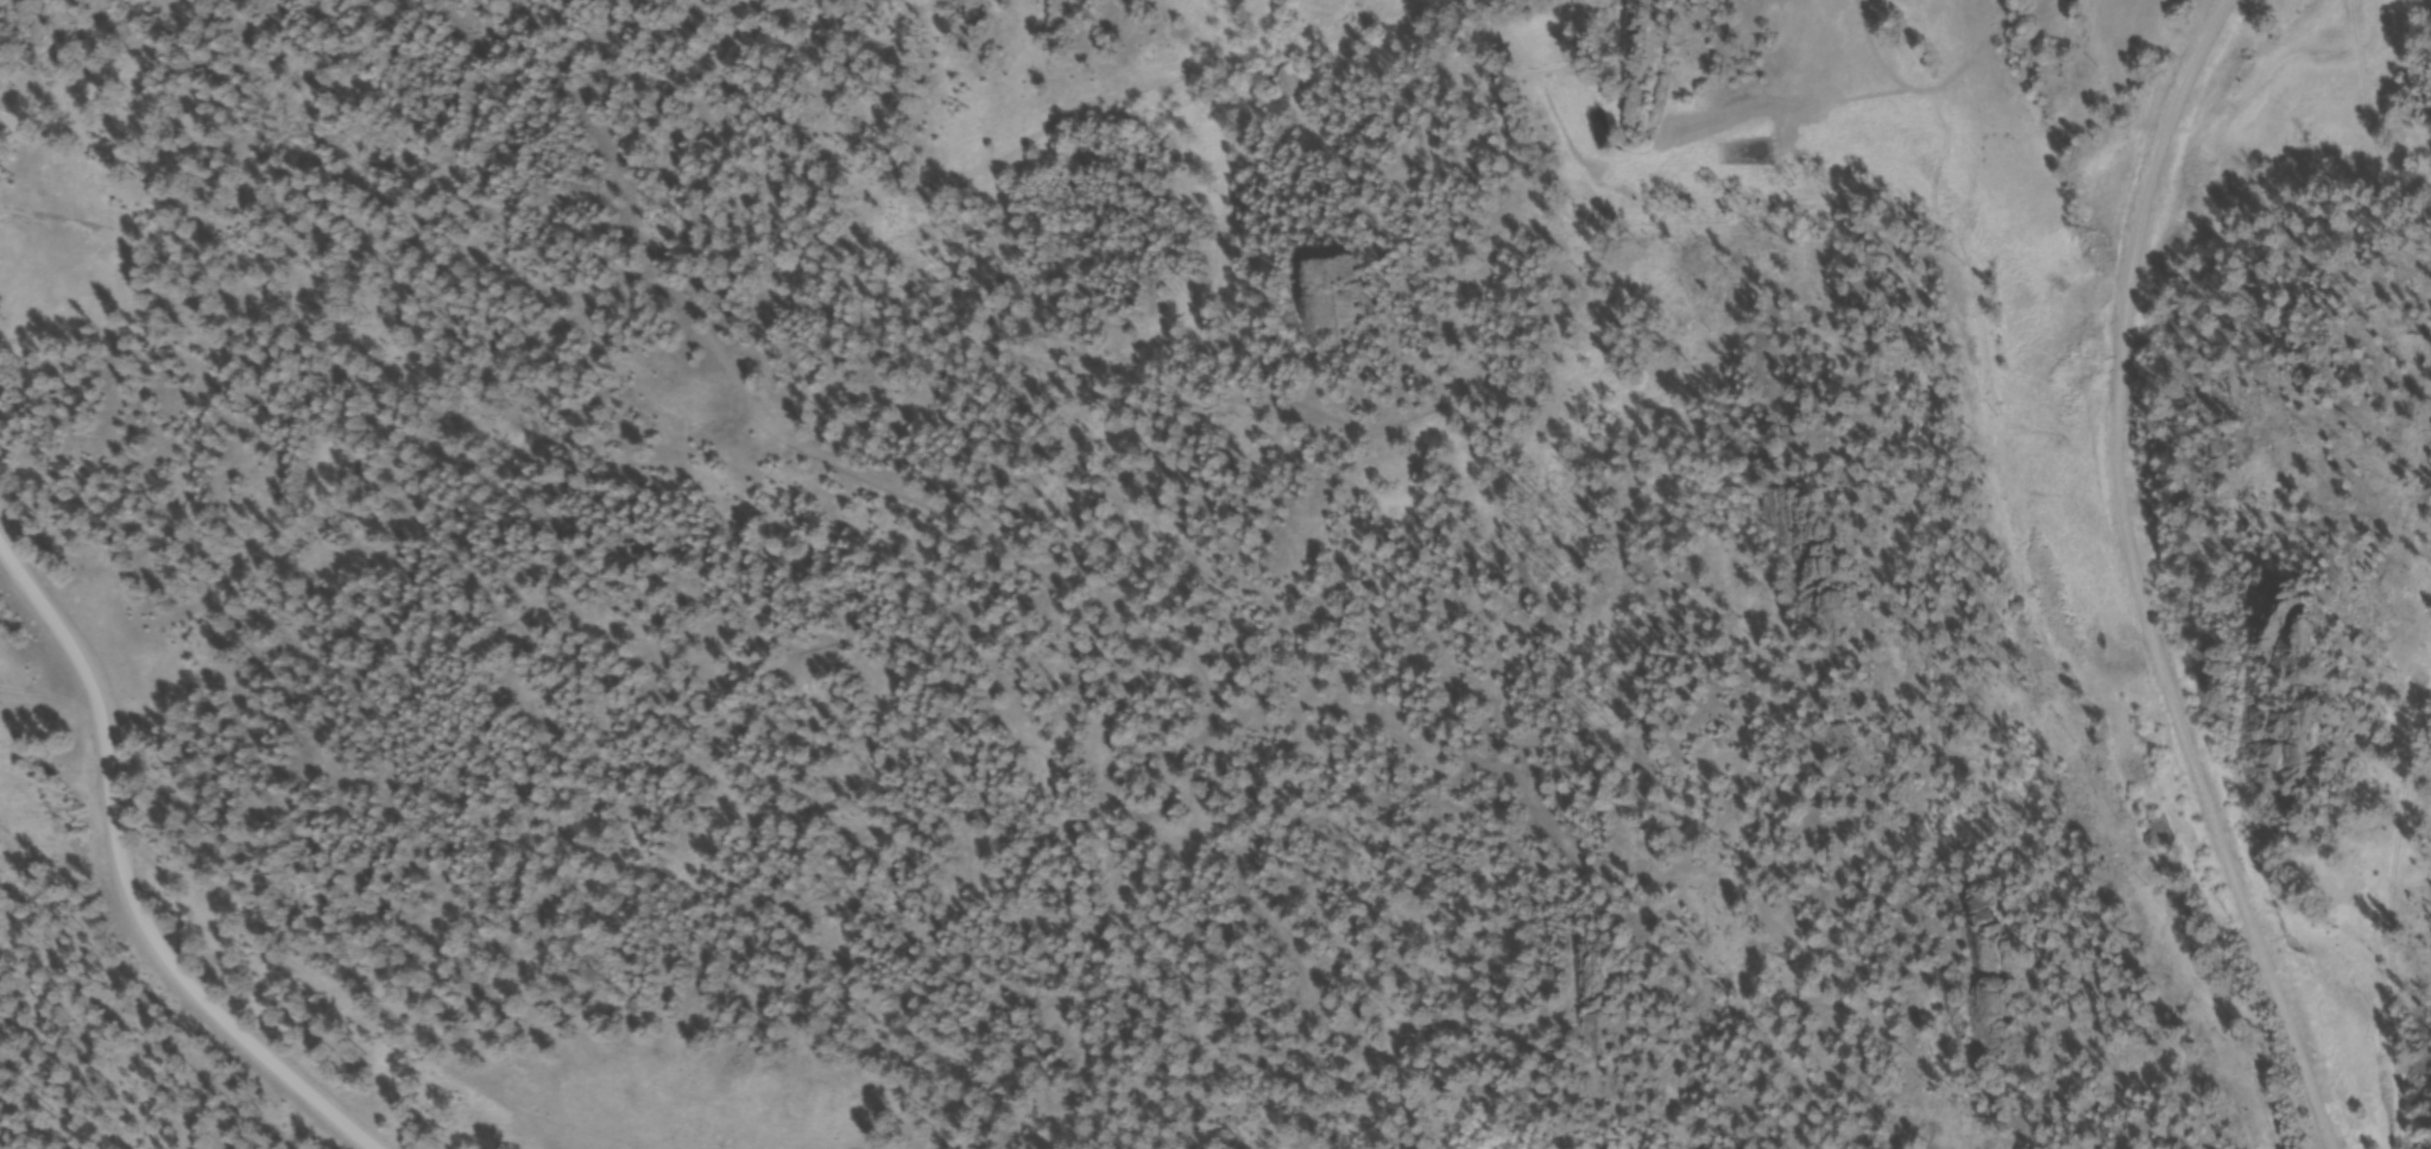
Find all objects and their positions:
road: (2147, 577)
building: (2166, 839)
road: (127, 886)

